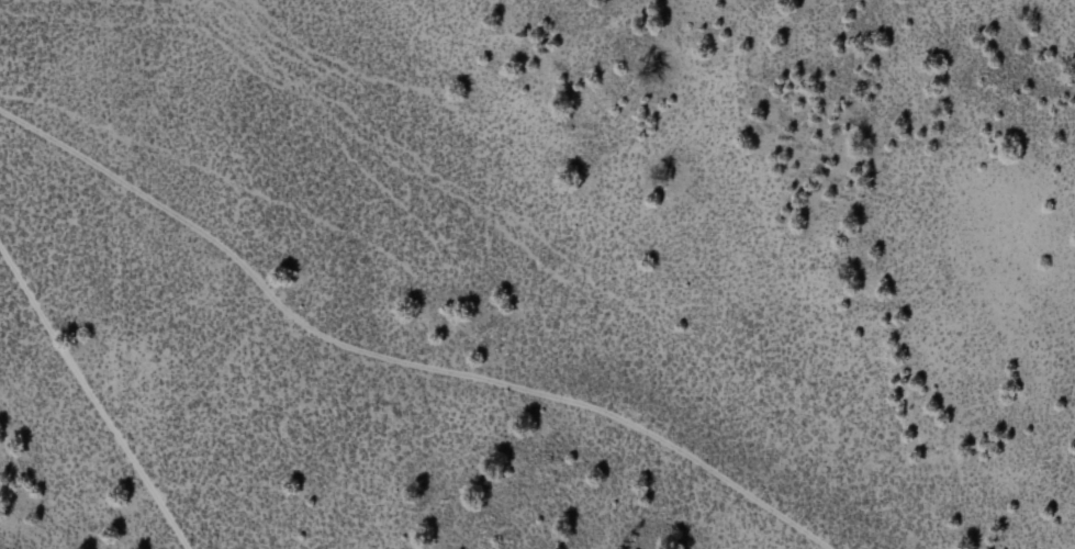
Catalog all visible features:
road: (121, 283)
road: (58, 341)
road: (394, 359)

